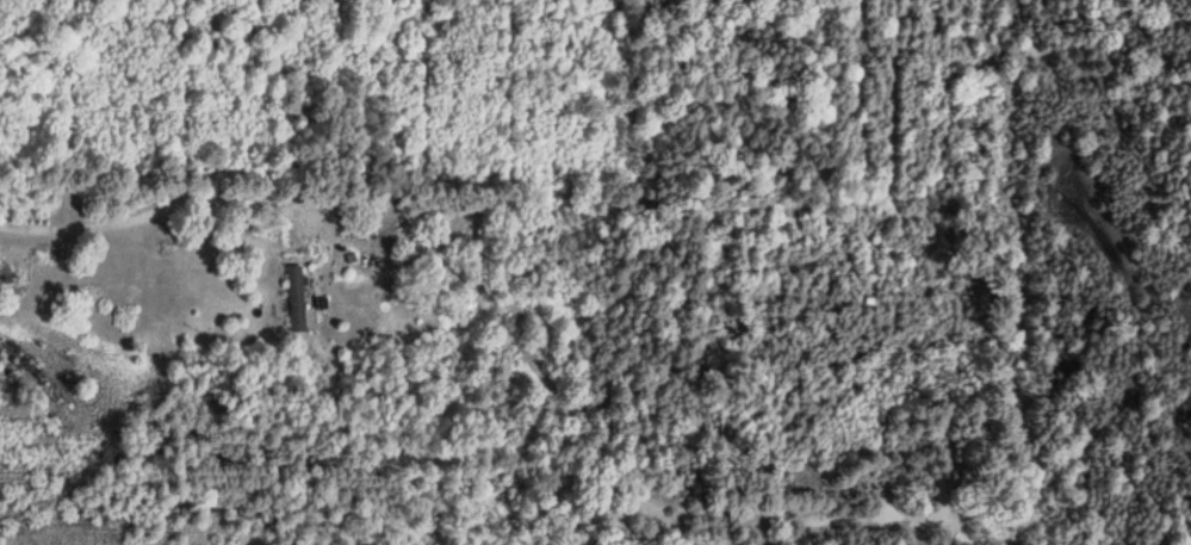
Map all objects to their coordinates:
road: (98, 235)
building: (402, 244)
building: (293, 299)

